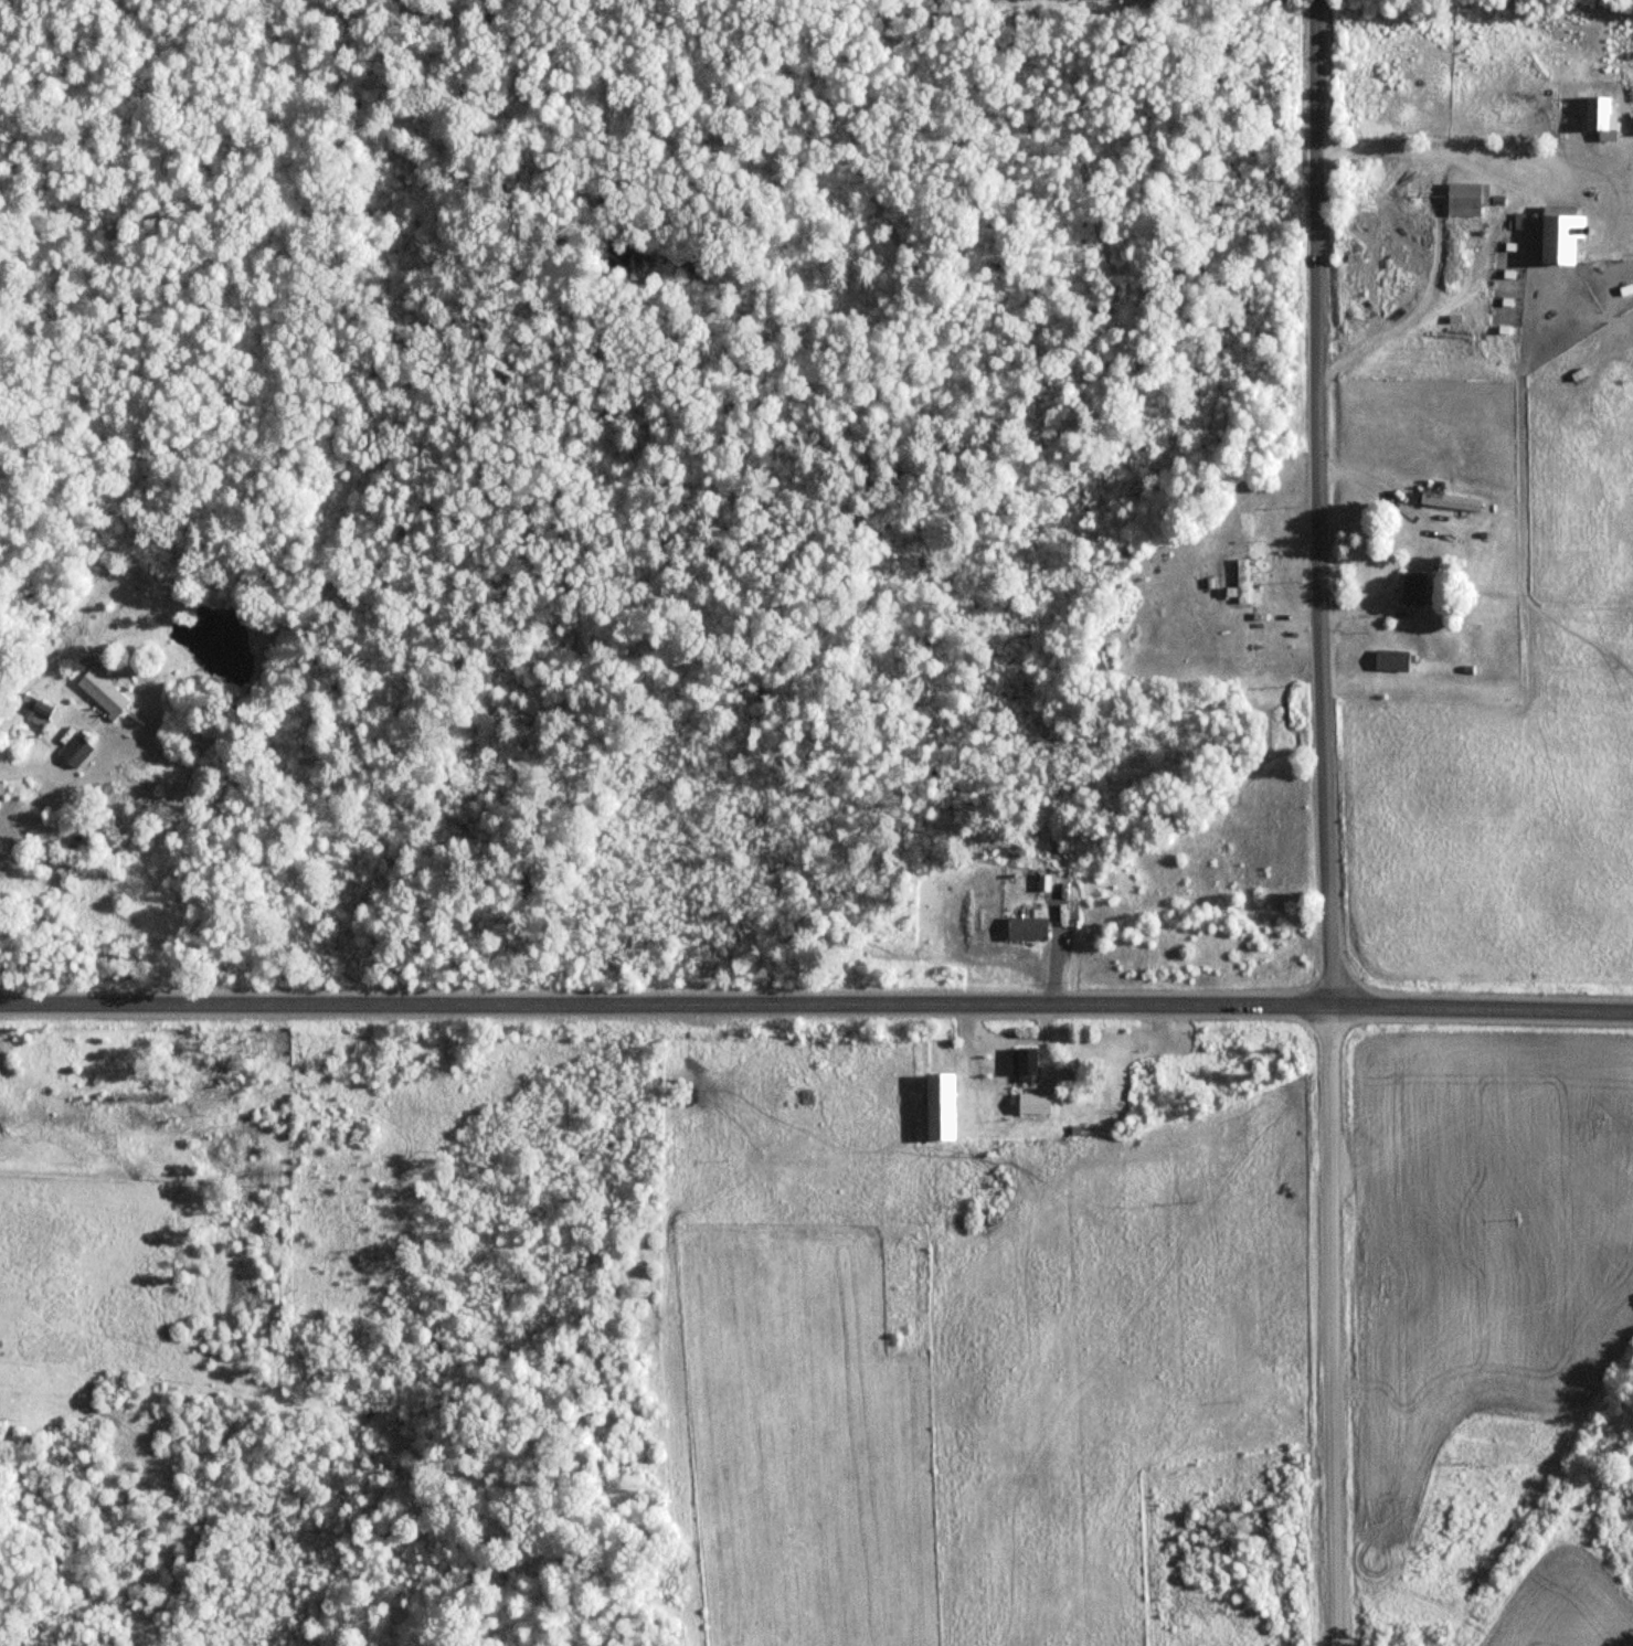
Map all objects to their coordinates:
building: (1594, 114)
building: (1465, 199)
building: (1556, 234)
building: (1449, 500)
road: (1326, 501)
building: (1240, 570)
building: (1411, 587)
building: (1389, 660)
building: (102, 691)
building: (35, 709)
building: (74, 751)
road: (1482, 1006)
road: (665, 1007)
building: (1022, 1065)
building: (939, 1107)
road: (1334, 1324)

